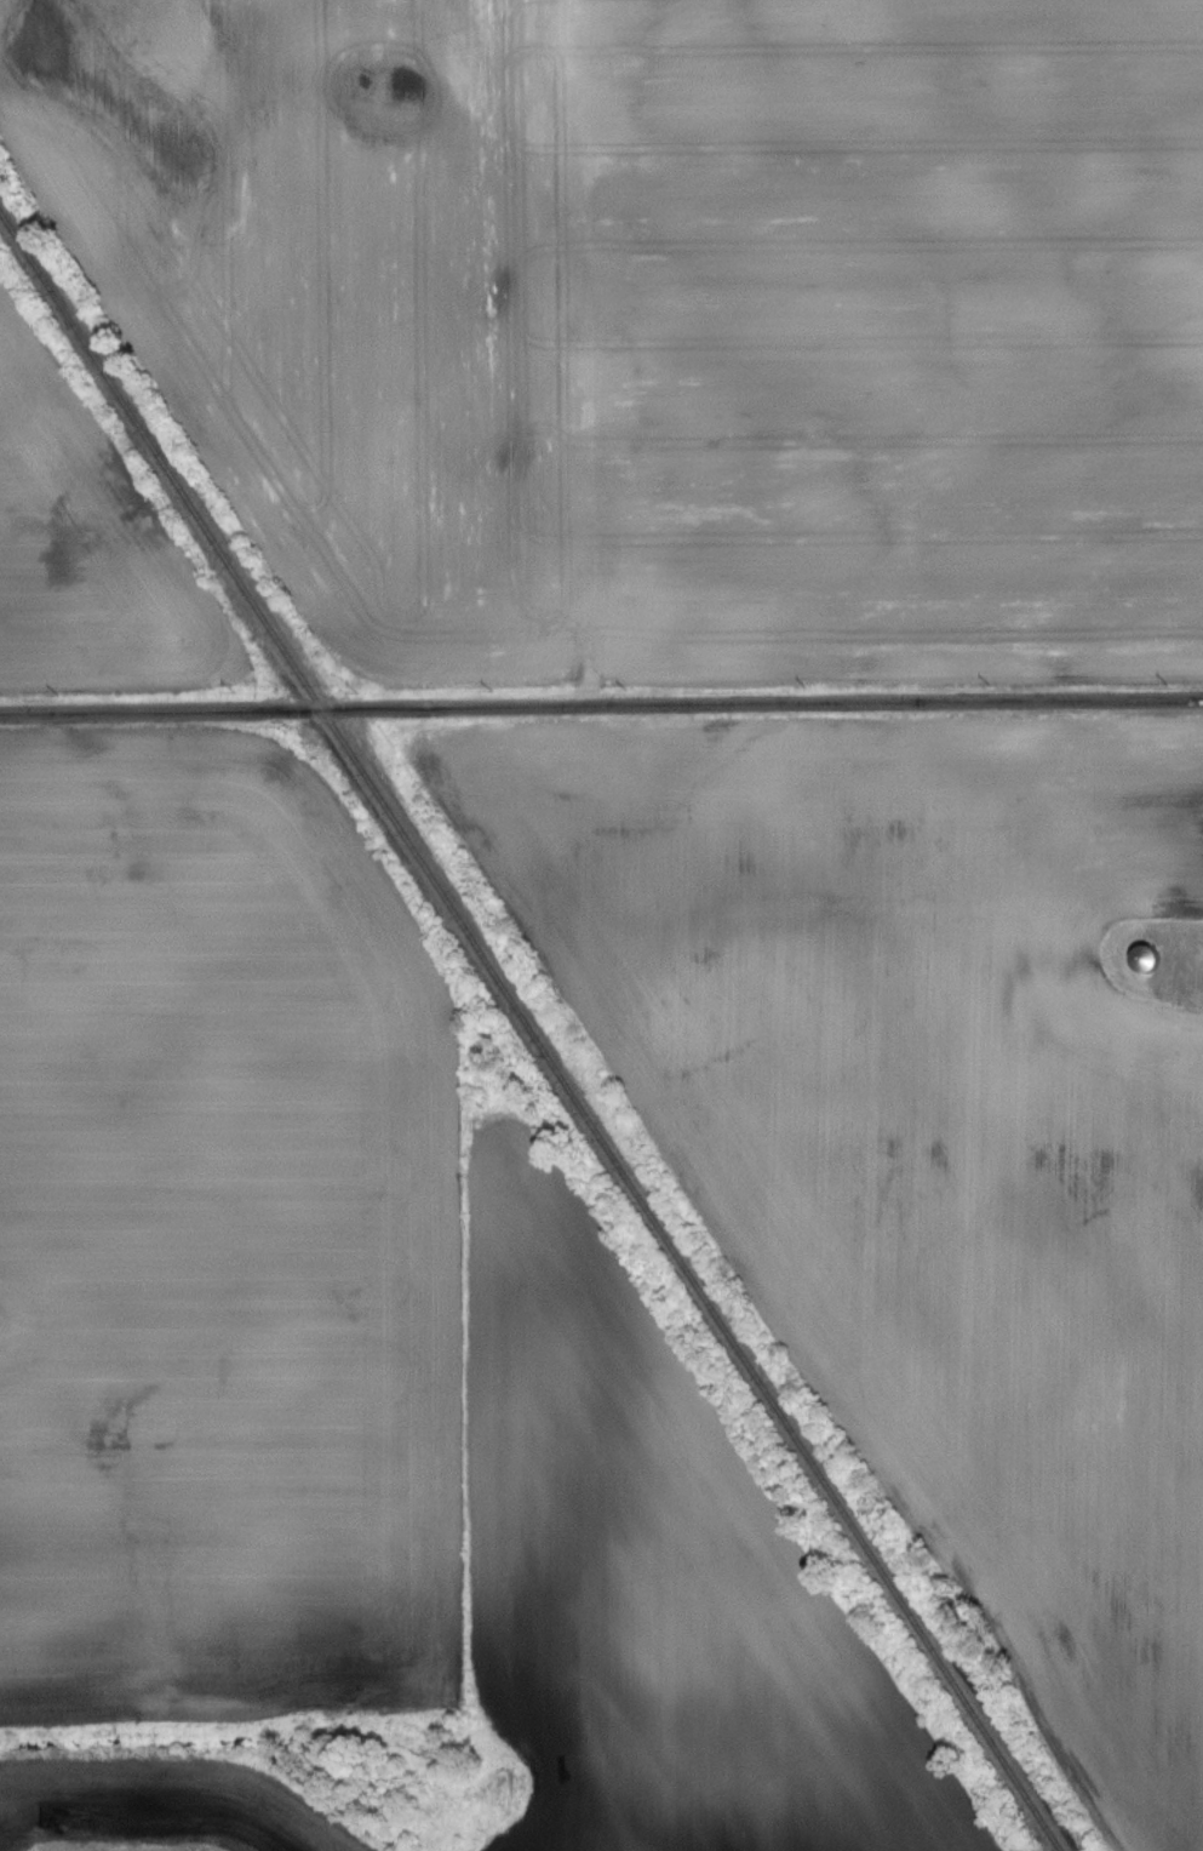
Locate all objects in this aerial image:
crop: (660, 324)
road: (601, 708)
building: (1174, 956)
building: (1148, 959)
railway: (533, 1023)

